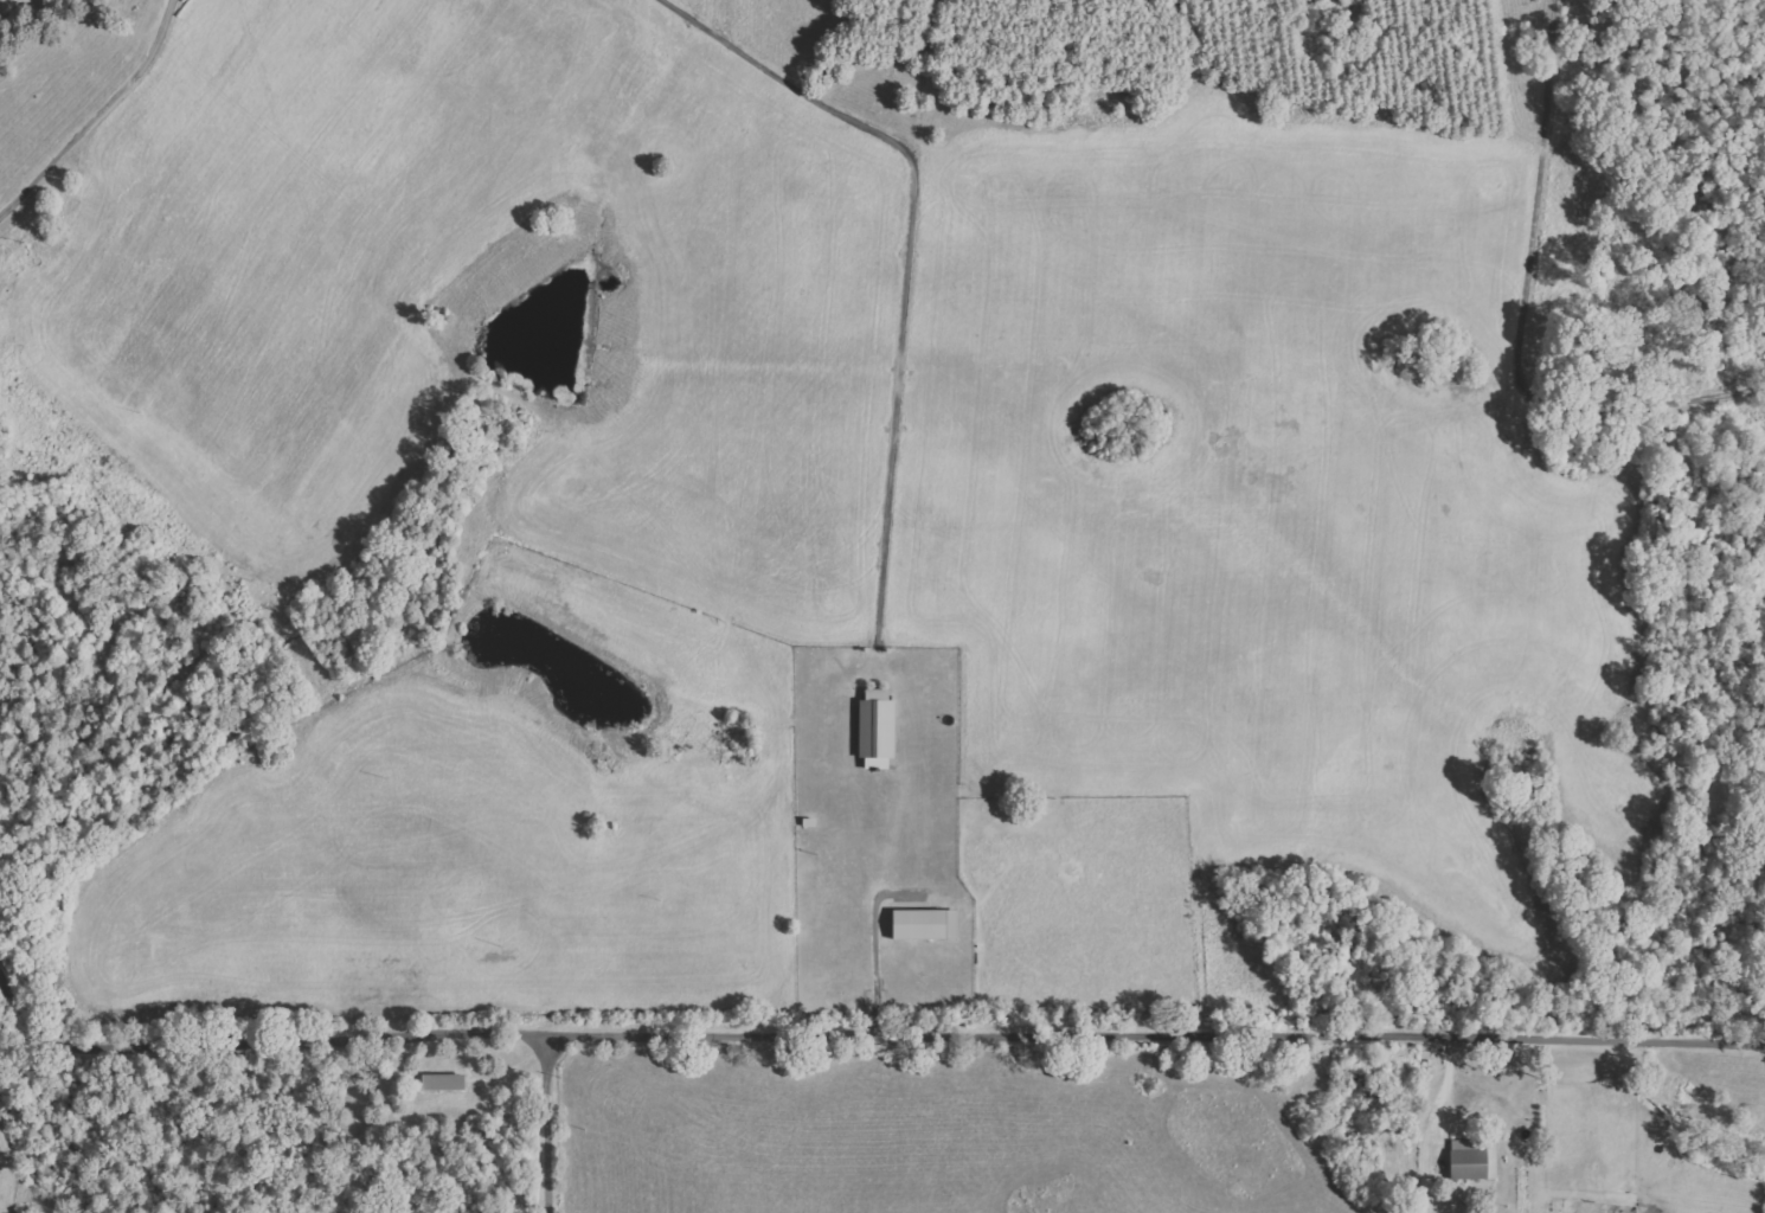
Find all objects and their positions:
building: (880, 729)
building: (929, 924)
road: (864, 1038)
building: (447, 1082)
road: (554, 1122)
building: (1476, 1159)

